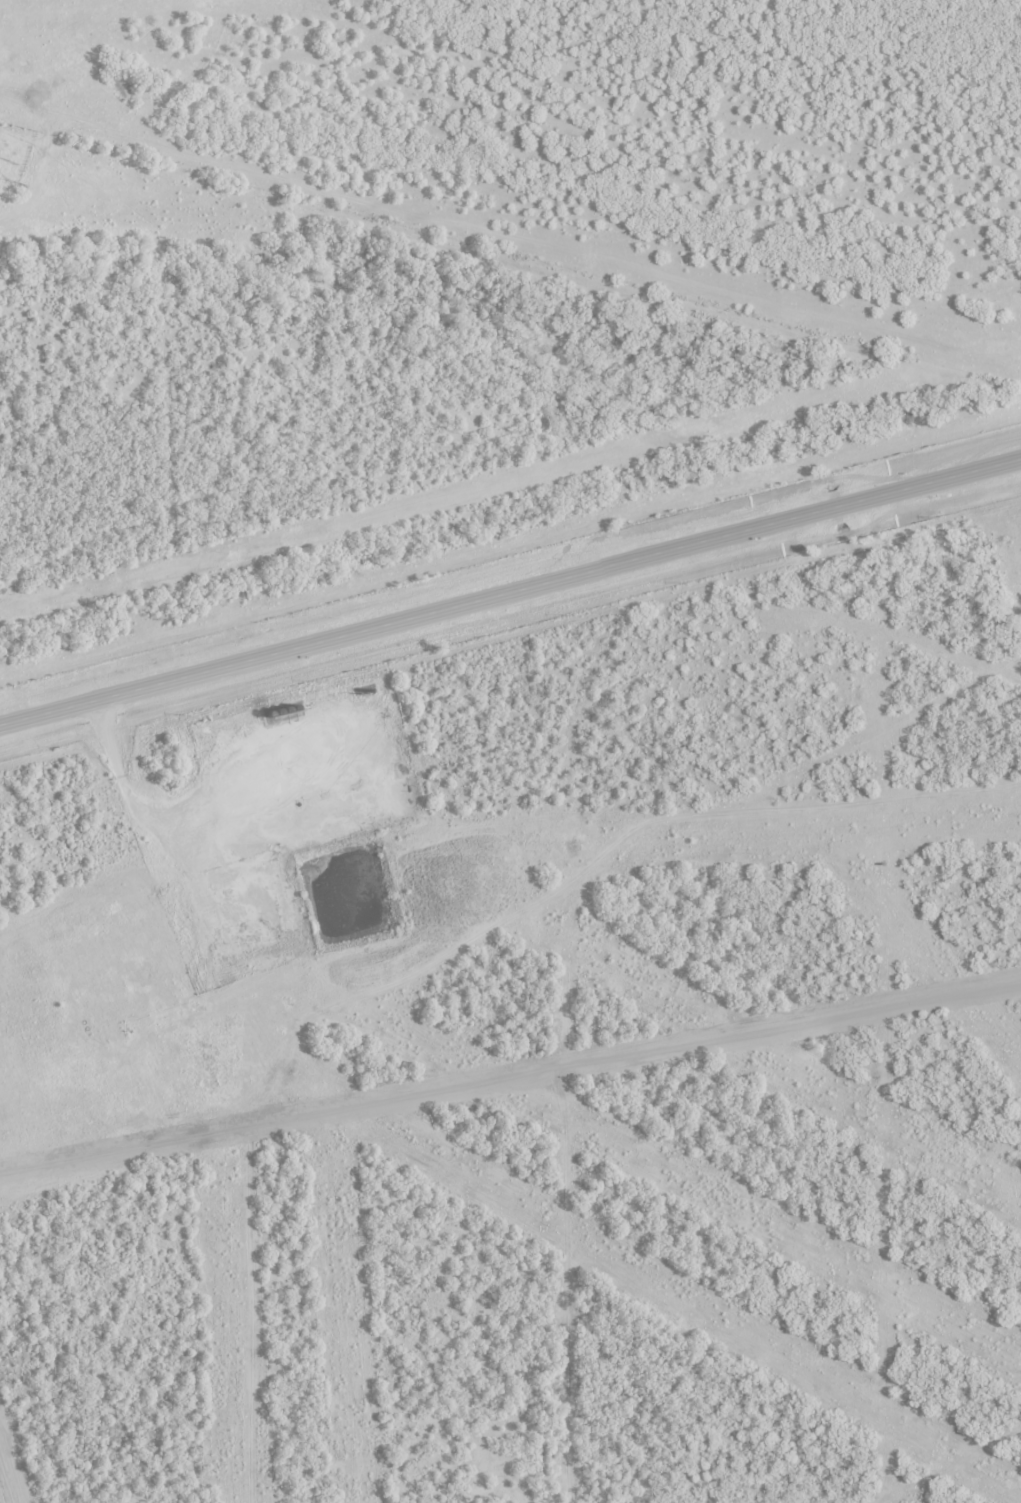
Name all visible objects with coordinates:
road: (451, 226)
road: (510, 590)

